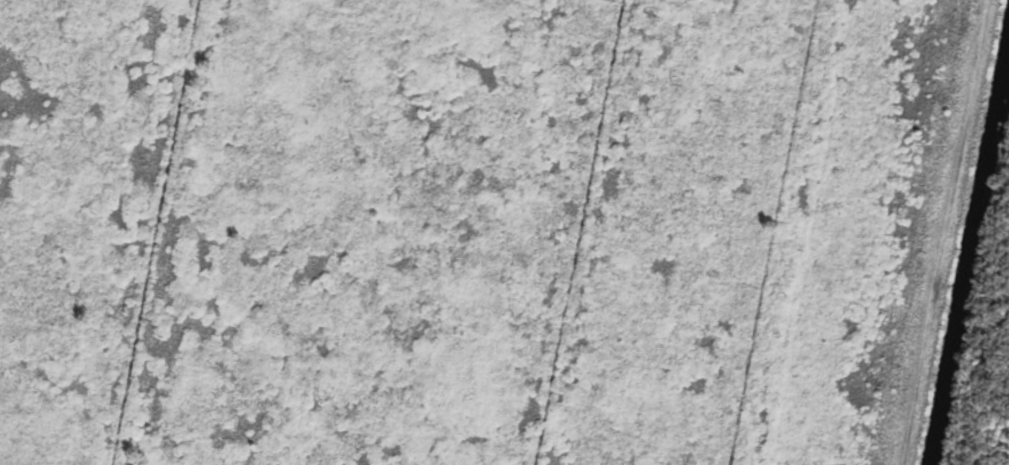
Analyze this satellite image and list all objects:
road: (950, 232)

